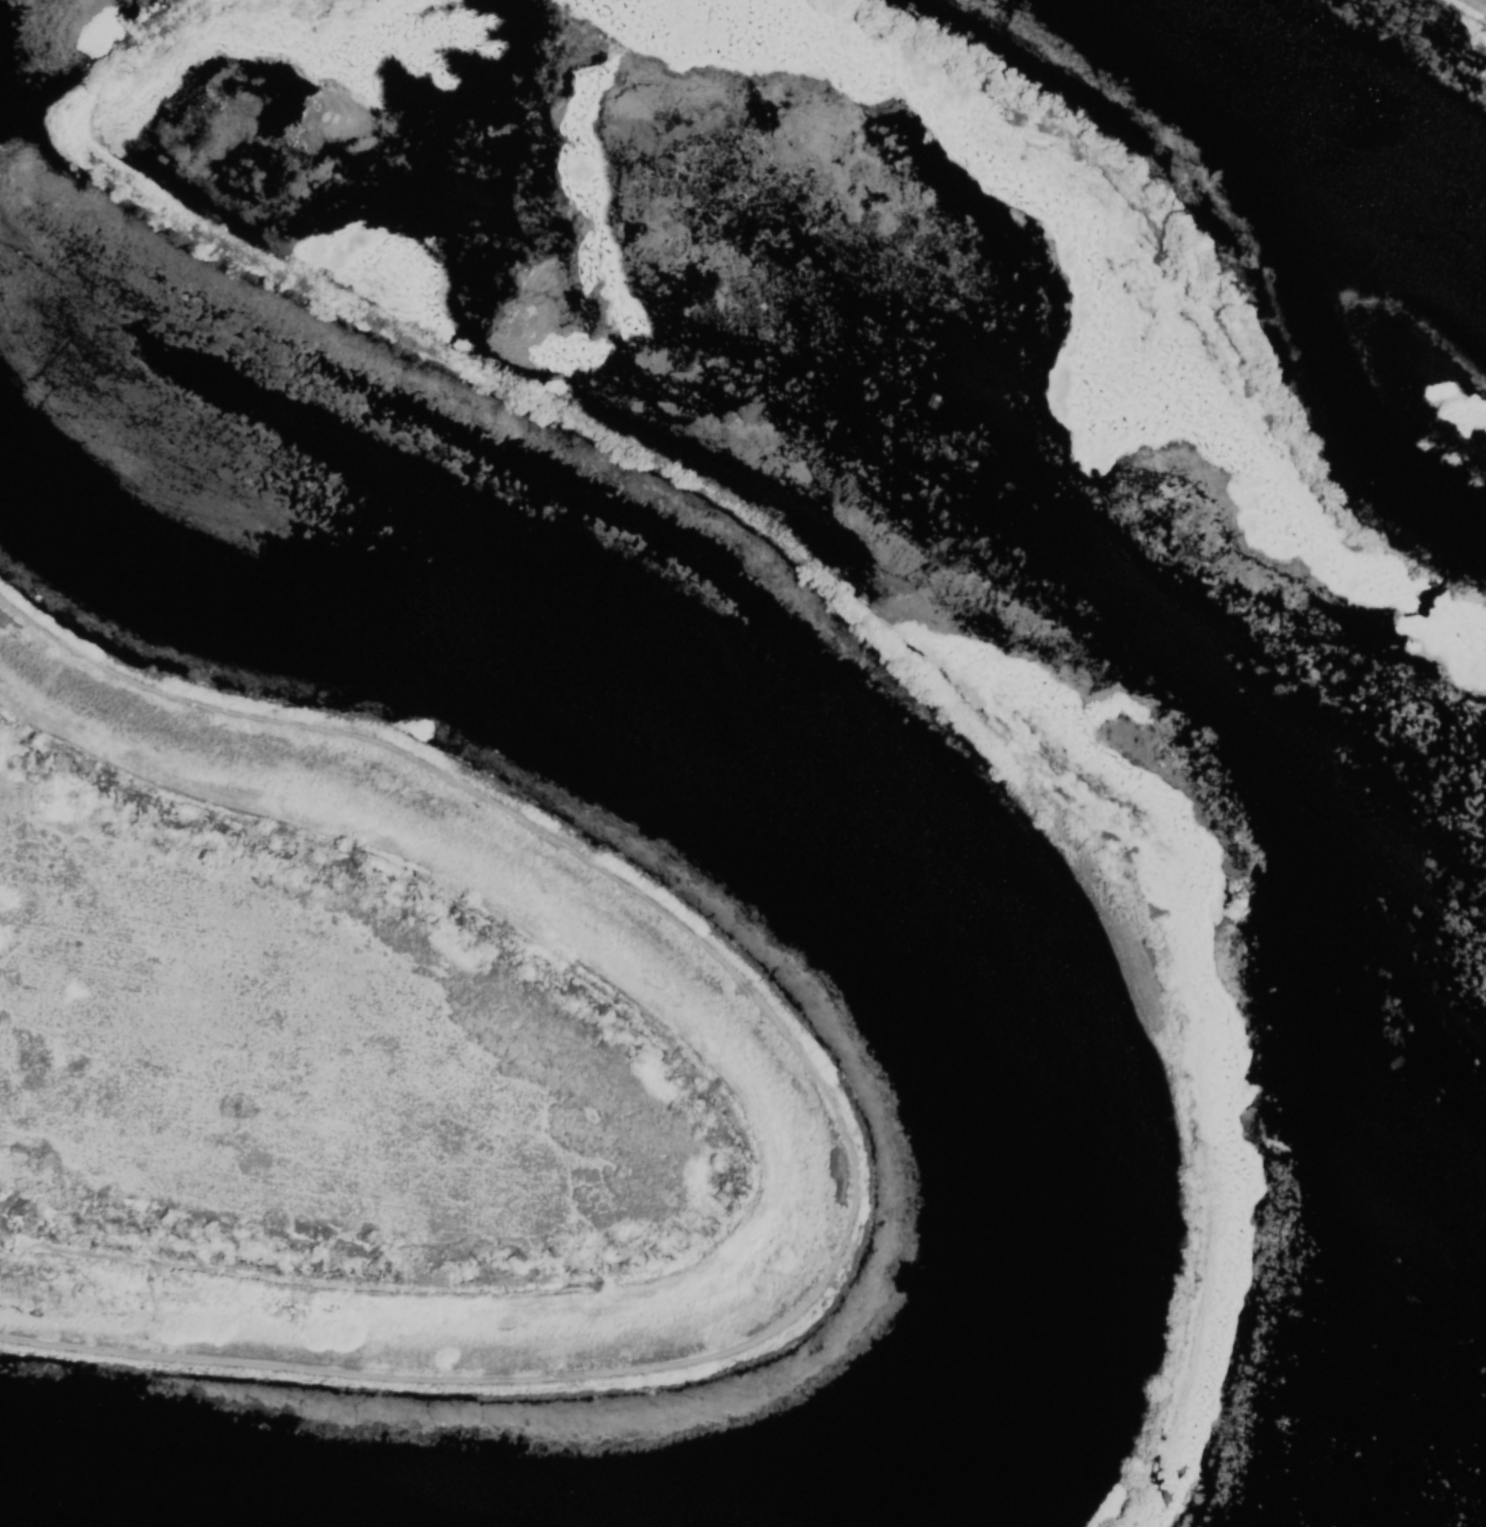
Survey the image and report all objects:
crop: (1484, 0)
river: (1314, 117)
river: (789, 791)
crop: (336, 1067)

